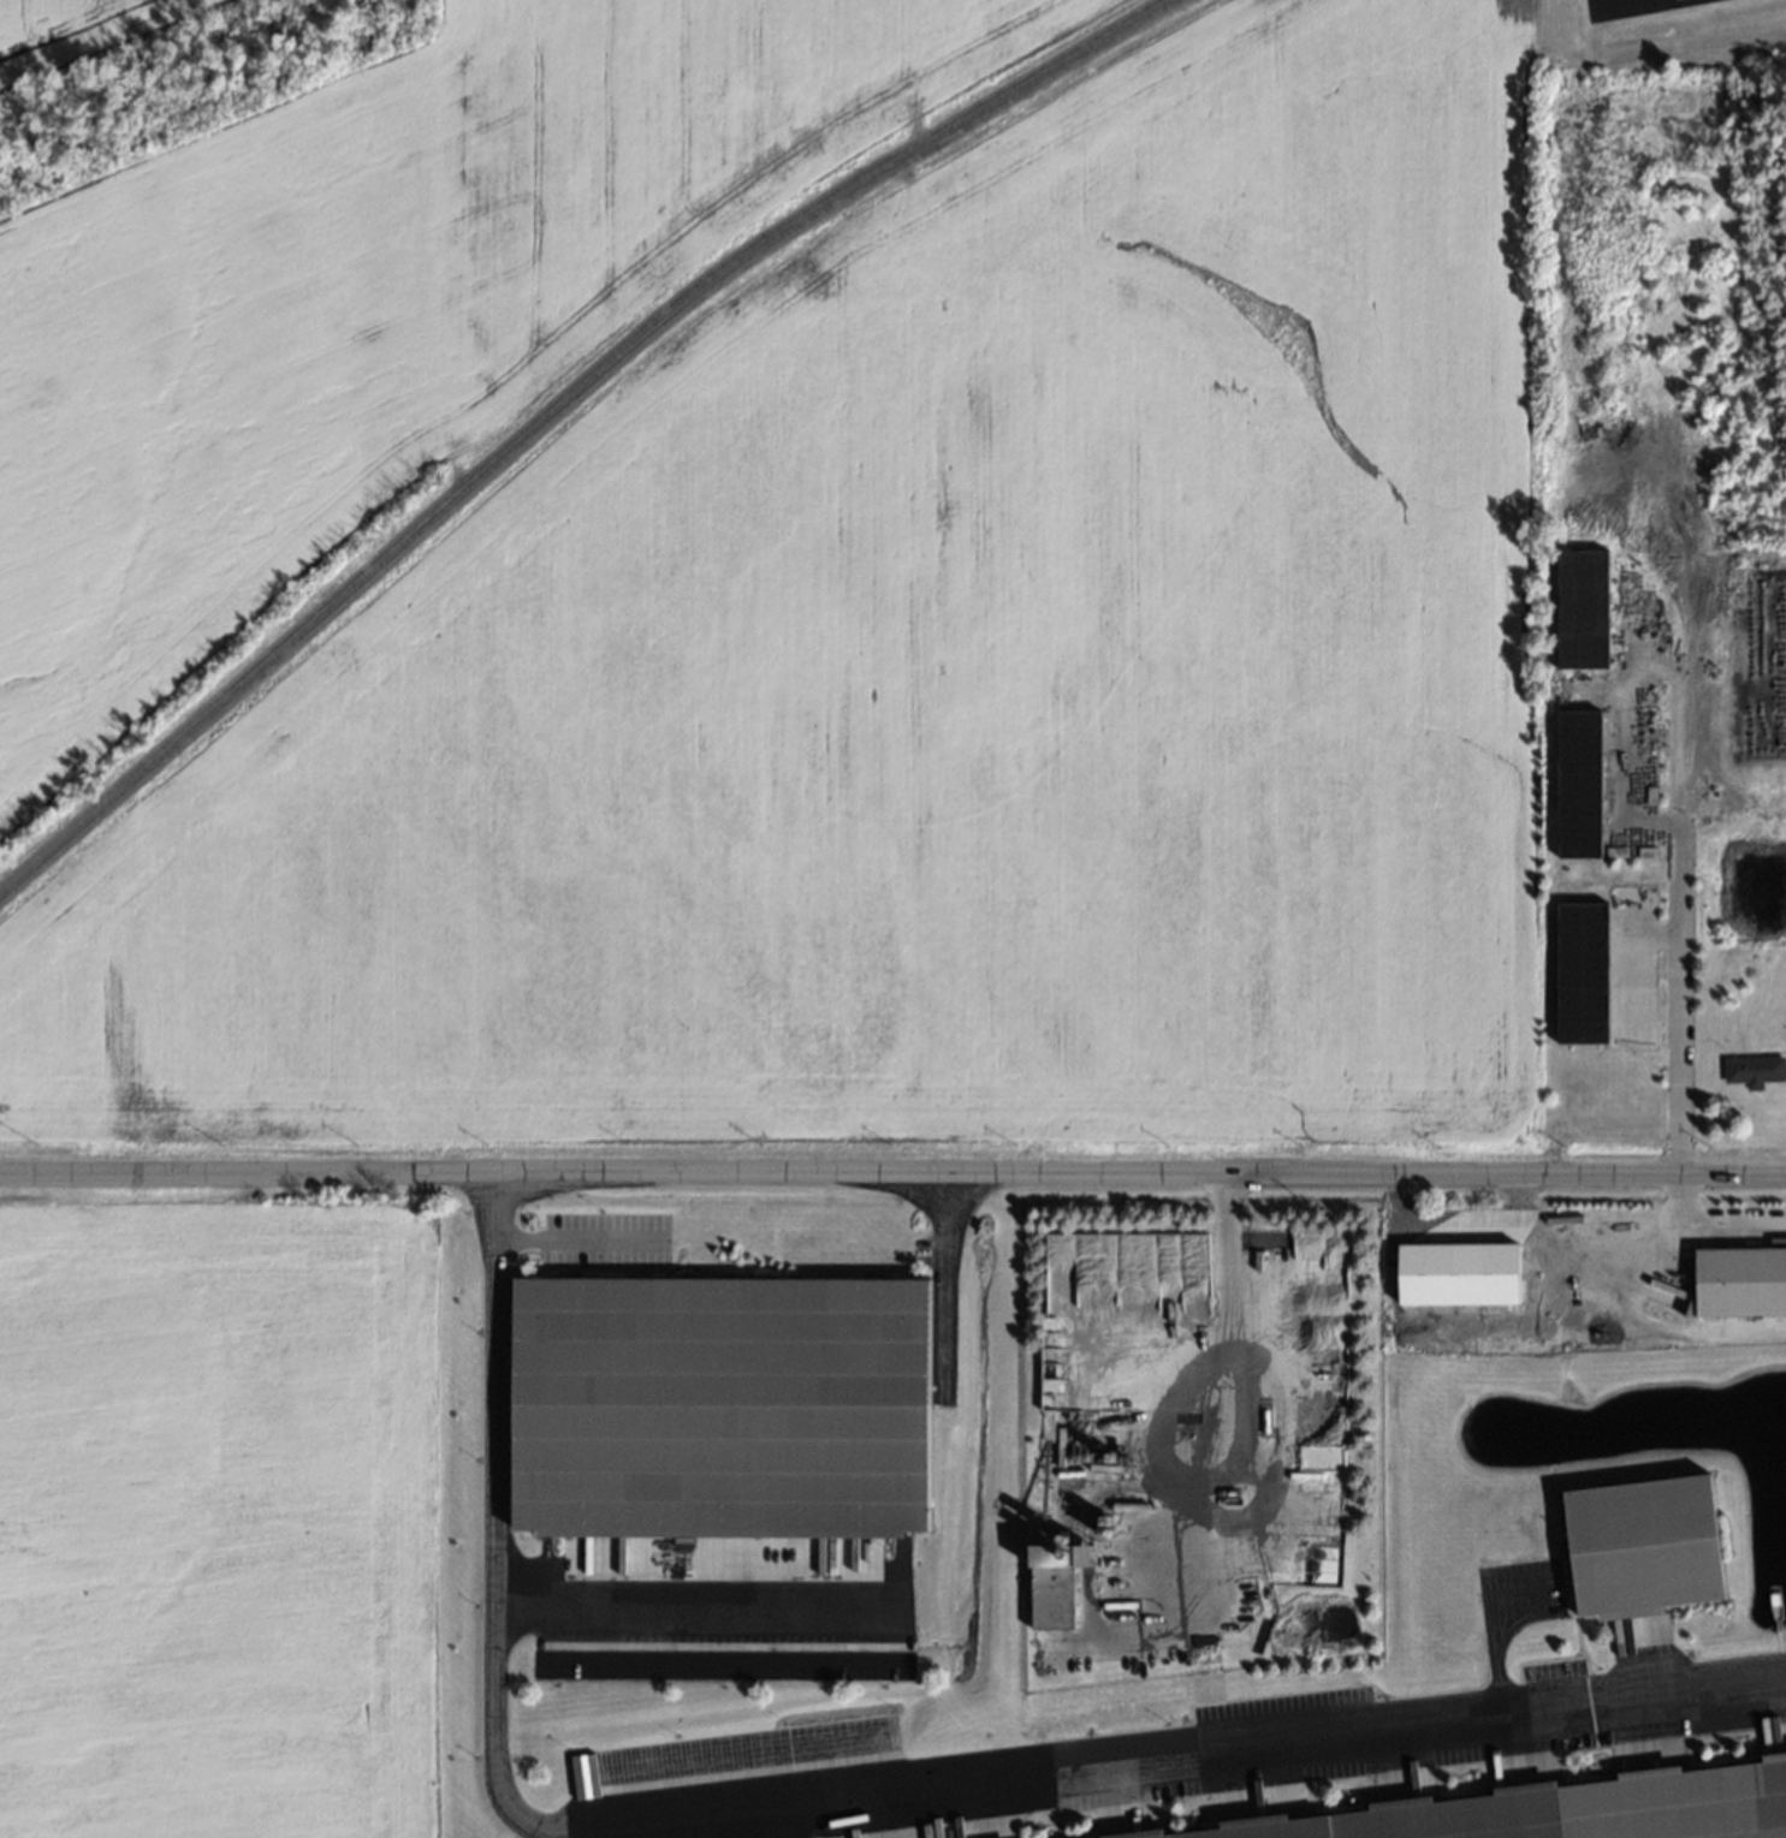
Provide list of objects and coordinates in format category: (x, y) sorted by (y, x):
airport taxiway: (1591, 4)
airport runway: (1612, 4)
airport: (1650, 26)
road: (563, 412)
building: (1588, 609)
building: (1580, 784)
road: (1628, 817)
road: (1654, 935)
building: (1584, 975)
road: (1634, 986)
road: (1675, 991)
building: (1755, 1069)
road: (892, 1173)
road: (1675, 1208)
road: (1622, 1242)
road: (572, 1243)
parking lot: (599, 1244)
building: (1060, 1257)
building: (1460, 1273)
building: (1742, 1284)
road: (936, 1391)
building: (722, 1404)
quarry: (1187, 1437)
road: (1224, 1437)
building: (1649, 1545)
building: (1038, 1571)
road: (710, 1608)
road: (1485, 1624)
road: (821, 1797)
building: (1574, 1812)

